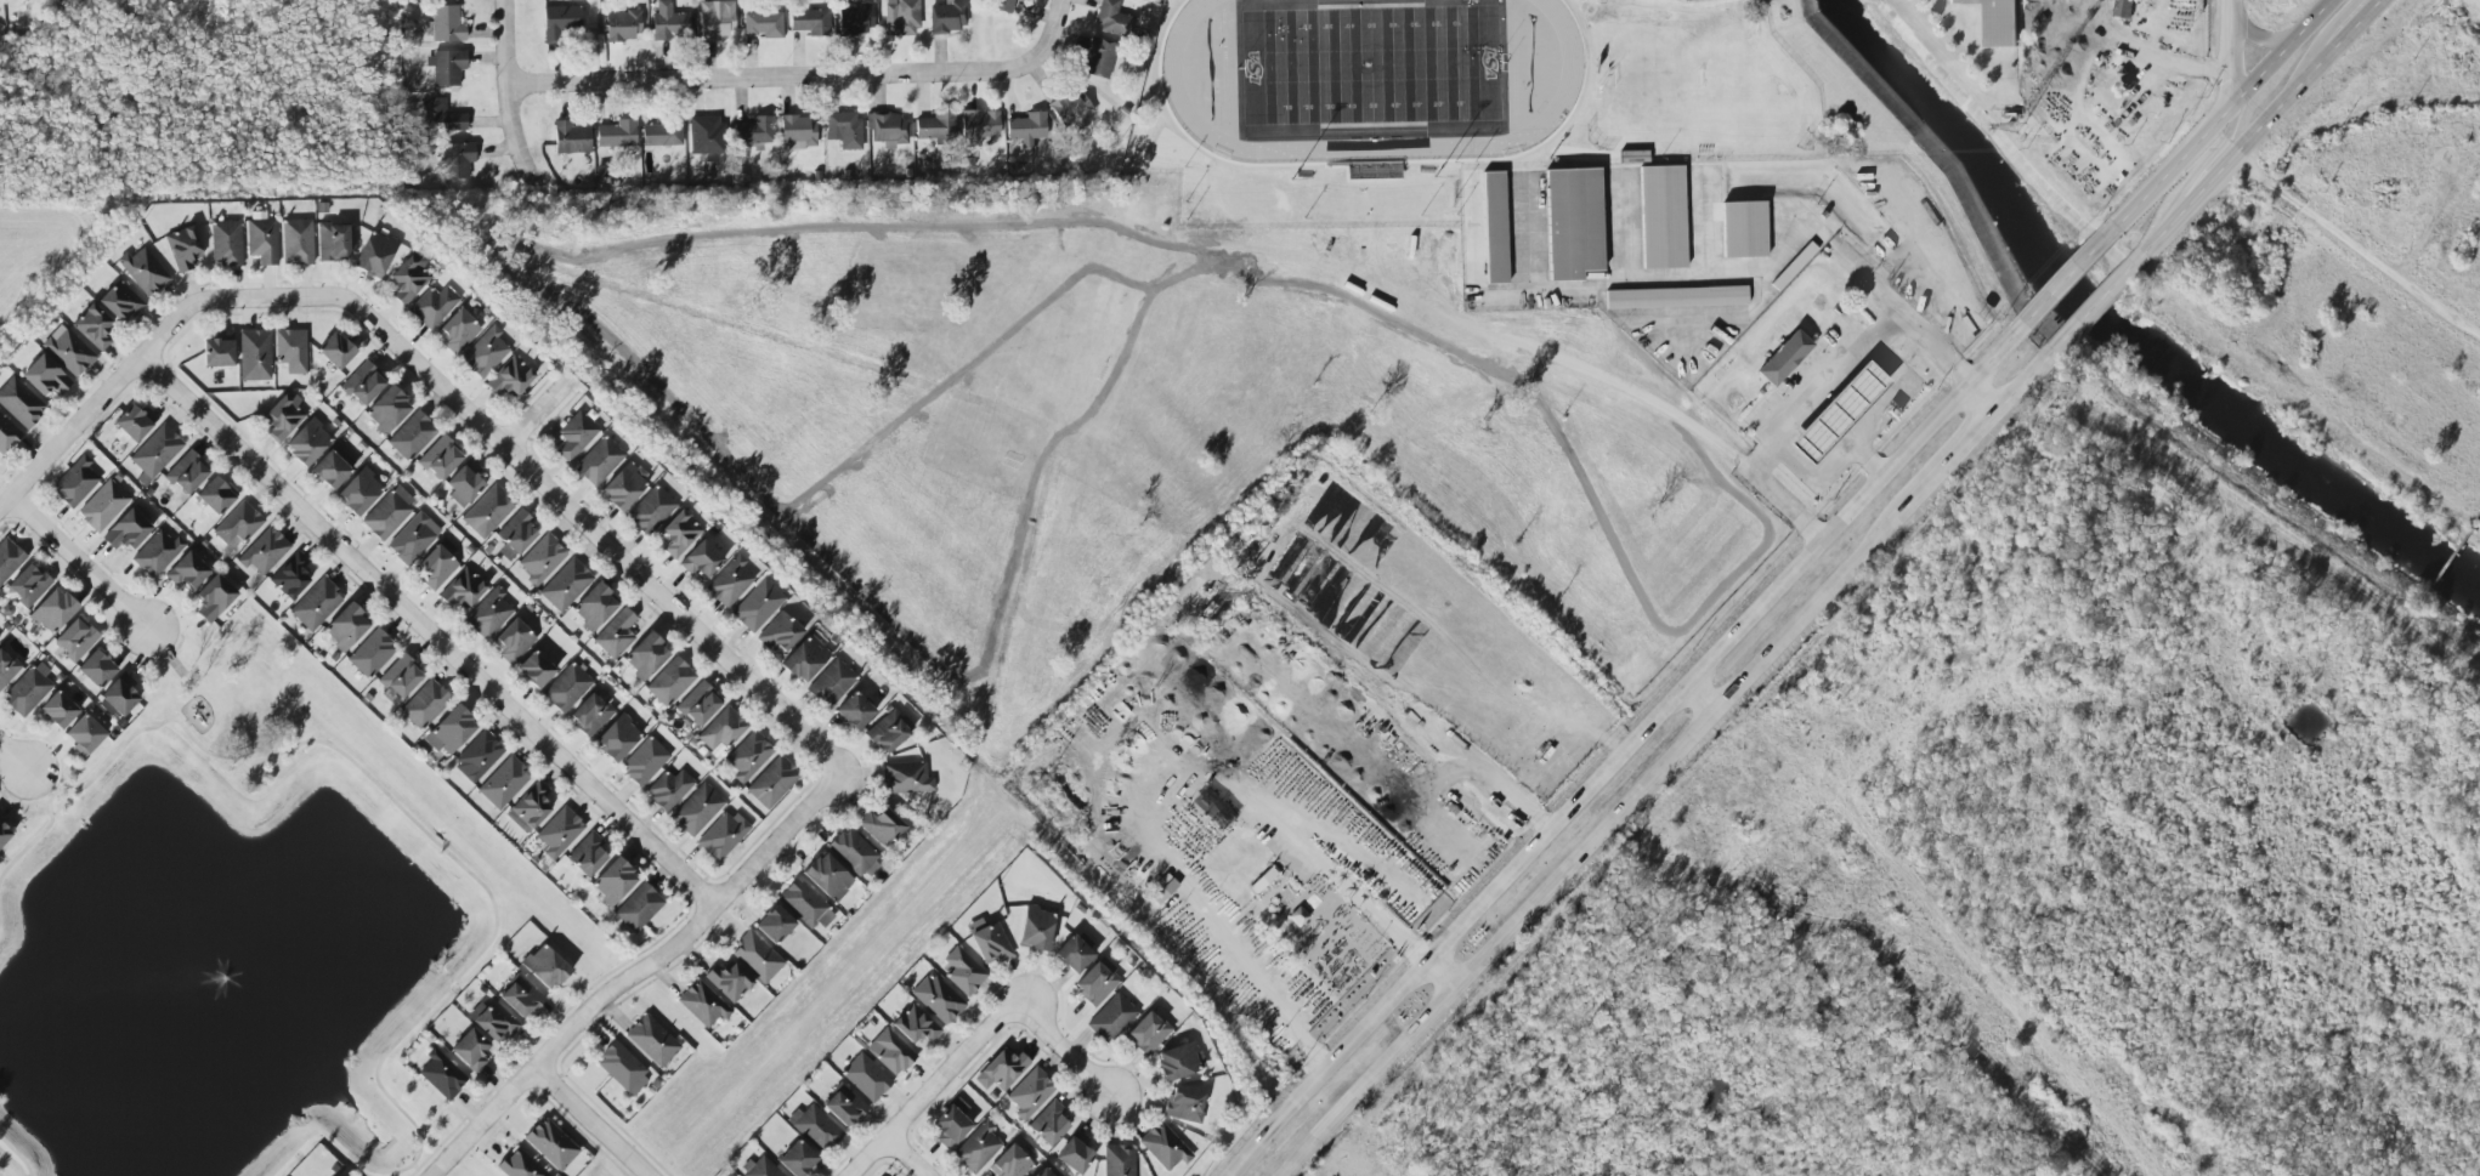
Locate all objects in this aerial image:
building: (1003, 5)
building: (2123, 7)
building: (949, 17)
building: (1109, 17)
building: (717, 18)
building: (901, 18)
building: (855, 19)
building: (810, 21)
building: (1995, 21)
building: (560, 22)
building: (669, 23)
building: (445, 24)
building: (764, 24)
building: (623, 25)
road: (1051, 36)
road: (2329, 42)
road: (2231, 55)
road: (2282, 55)
building: (1099, 58)
park: (1370, 66)
building: (446, 67)
road: (766, 75)
road: (506, 96)
building: (1072, 109)
building: (441, 117)
building: (979, 125)
building: (936, 127)
building: (889, 129)
building: (1026, 129)
building: (844, 130)
building: (754, 131)
road: (2264, 131)
building: (798, 132)
building: (616, 133)
building: (662, 133)
building: (706, 135)
building: (571, 138)
road: (2208, 158)
building: (457, 160)
road: (2170, 171)
building: (1661, 217)
road: (1788, 220)
road: (1704, 222)
building: (1573, 223)
building: (1494, 227)
road: (1620, 227)
building: (1743, 229)
building: (261, 240)
building: (296, 242)
building: (332, 242)
building: (226, 243)
road: (2357, 244)
building: (183, 248)
building: (374, 254)
building: (143, 271)
road: (1865, 275)
building: (408, 277)
road: (1641, 280)
road: (2063, 283)
road: (1506, 297)
building: (1676, 297)
building: (120, 301)
building: (432, 306)
road: (2089, 312)
road: (1708, 316)
building: (92, 326)
building: (457, 331)
building: (68, 351)
building: (290, 351)
building: (335, 351)
building: (217, 353)
building: (483, 353)
building: (255, 356)
building: (1783, 358)
building: (45, 376)
building: (510, 376)
road: (2021, 382)
building: (362, 384)
road: (1828, 387)
road: (1631, 391)
road: (1987, 393)
road: (101, 399)
building: (19, 402)
building: (387, 410)
road: (537, 413)
building: (1836, 413)
building: (284, 416)
building: (135, 421)
road: (1863, 432)
building: (7, 434)
building: (574, 434)
building: (412, 436)
building: (306, 442)
building: (154, 453)
building: (440, 458)
road: (1869, 458)
building: (599, 460)
road: (1948, 460)
building: (329, 470)
building: (186, 472)
building: (465, 481)
building: (75, 482)
road: (543, 485)
building: (624, 485)
building: (358, 492)
building: (215, 495)
building: (102, 505)
building: (651, 510)
building: (487, 511)
building: (387, 512)
building: (238, 523)
building: (126, 530)
building: (516, 533)
building: (679, 534)
building: (413, 539)
building: (264, 551)
building: (157, 553)
building: (9, 558)
building: (542, 558)
building: (701, 559)
road: (79, 562)
building: (436, 567)
building: (187, 570)
building: (290, 575)
building: (729, 581)
building: (28, 585)
building: (565, 585)
building: (463, 587)
building: (214, 597)
building: (316, 603)
building: (757, 604)
building: (594, 606)
building: (52, 610)
building: (488, 613)
building: (345, 626)
road: (428, 631)
building: (616, 634)
building: (780, 634)
building: (75, 640)
building: (513, 641)
building: (370, 654)
building: (645, 657)
building: (805, 657)
building: (6, 669)
building: (96, 669)
building: (534, 670)
building: (398, 677)
building: (670, 682)
building: (831, 682)
building: (566, 687)
building: (27, 691)
building: (119, 694)
road: (1698, 695)
building: (424, 704)
building: (697, 704)
building: (57, 709)
building: (853, 711)
building: (591, 714)
building: (721, 728)
building: (449, 731)
building: (887, 732)
building: (84, 734)
building: (617, 738)
road: (1616, 746)
building: (748, 755)
road: (13, 756)
building: (477, 756)
building: (645, 761)
road: (1484, 772)
building: (904, 778)
building: (503, 782)
building: (771, 782)
building: (668, 789)
building: (528, 807)
building: (697, 809)
building: (1, 817)
building: (881, 826)
building: (559, 831)
building: (4, 834)
building: (721, 835)
road: (438, 843)
road: (1591, 843)
building: (851, 852)
building: (587, 854)
road: (1308, 859)
building: (826, 875)
building: (612, 881)
building: (1163, 891)
building: (804, 904)
building: (638, 908)
building: (772, 924)
building: (1035, 928)
building: (987, 939)
road: (1230, 950)
building: (1072, 954)
building: (755, 956)
building: (544, 967)
road: (635, 972)
building: (963, 972)
building: (727, 981)
building: (1095, 982)
building: (520, 996)
building: (938, 999)
building: (702, 1004)
building: (1110, 1018)
building: (492, 1021)
building: (916, 1024)
building: (1145, 1033)
building: (652, 1040)
road: (1063, 1049)
building: (470, 1050)
building: (890, 1051)
building: (1179, 1061)
building: (622, 1068)
building: (1002, 1070)
building: (441, 1074)
building: (865, 1078)
road: (932, 1089)
building: (1030, 1093)
building: (1183, 1104)
building: (843, 1106)
road: (591, 1121)
building: (1048, 1123)
building: (951, 1124)
building: (814, 1127)
building: (550, 1144)
building: (1163, 1147)
building: (976, 1148)
building: (1075, 1153)
road: (17, 1154)
road: (907, 1157)
building: (797, 1159)
building: (1117, 1160)
building: (1009, 1163)
building: (519, 1165)
building: (759, 1168)
building: (1042, 1172)

